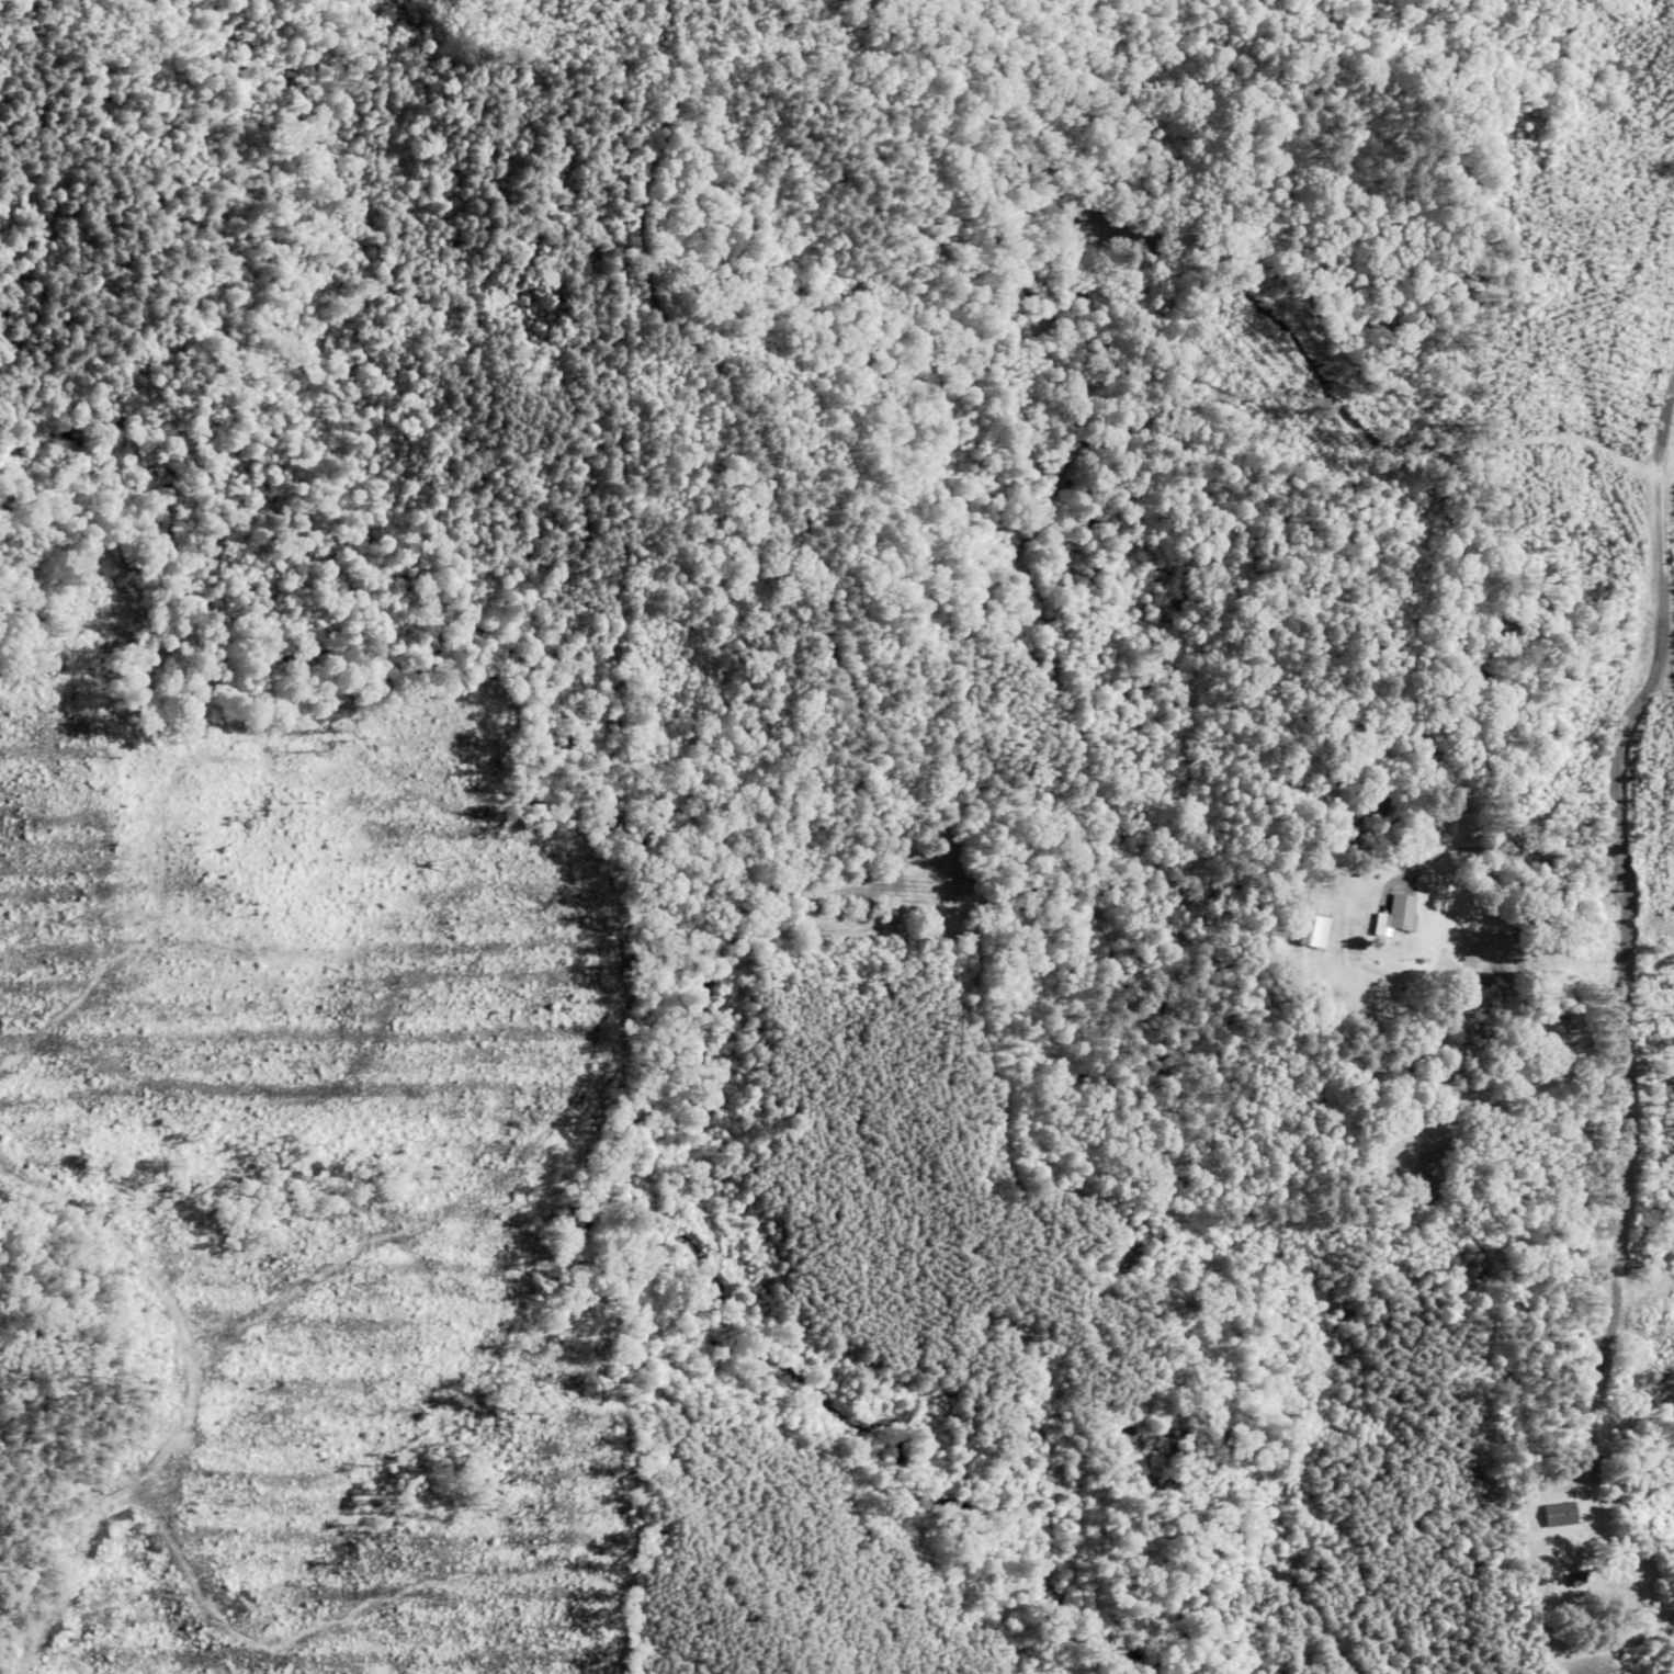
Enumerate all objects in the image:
building: (1401, 913)
road: (1611, 920)
building: (1314, 931)
building: (1561, 1515)

